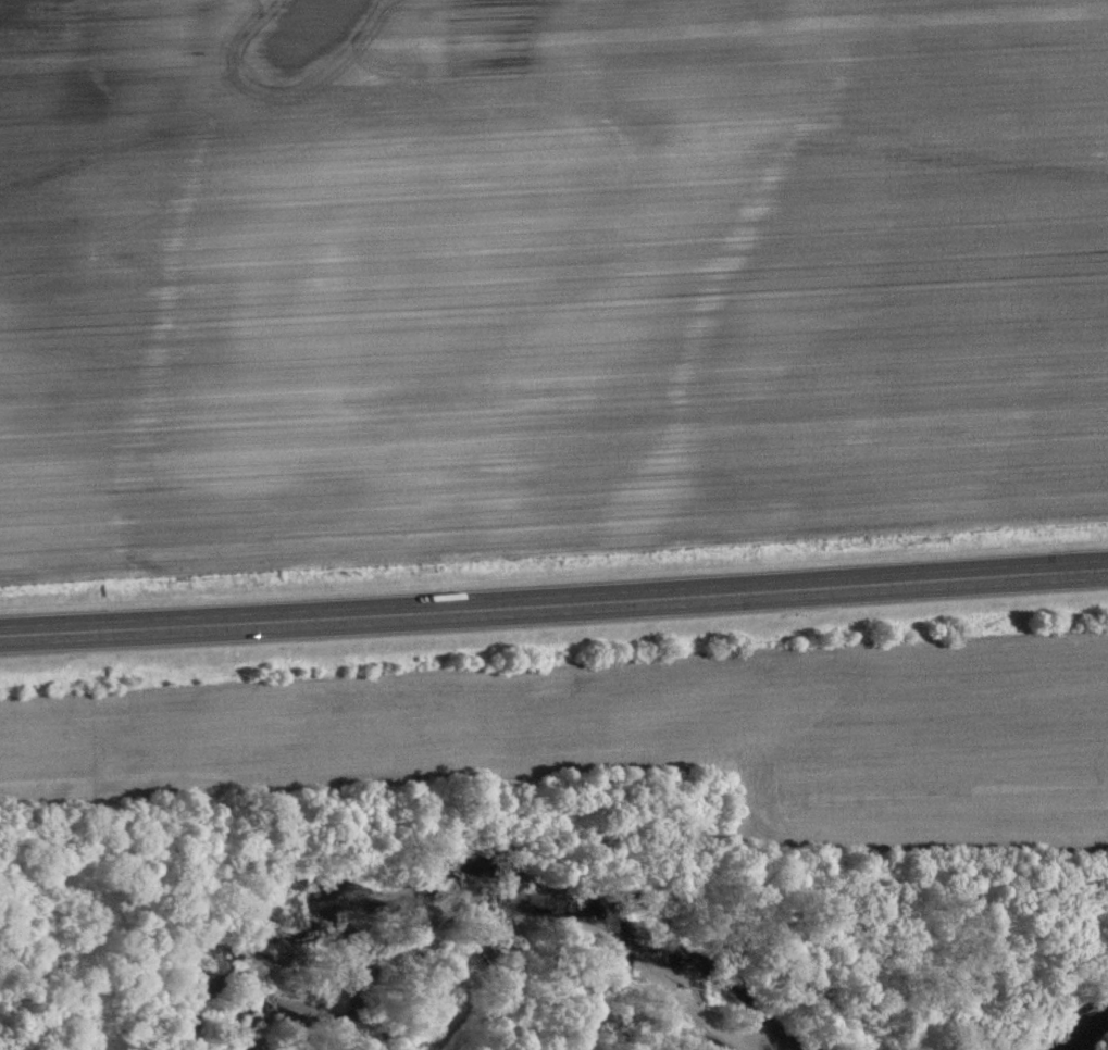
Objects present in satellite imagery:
road: (553, 603)

